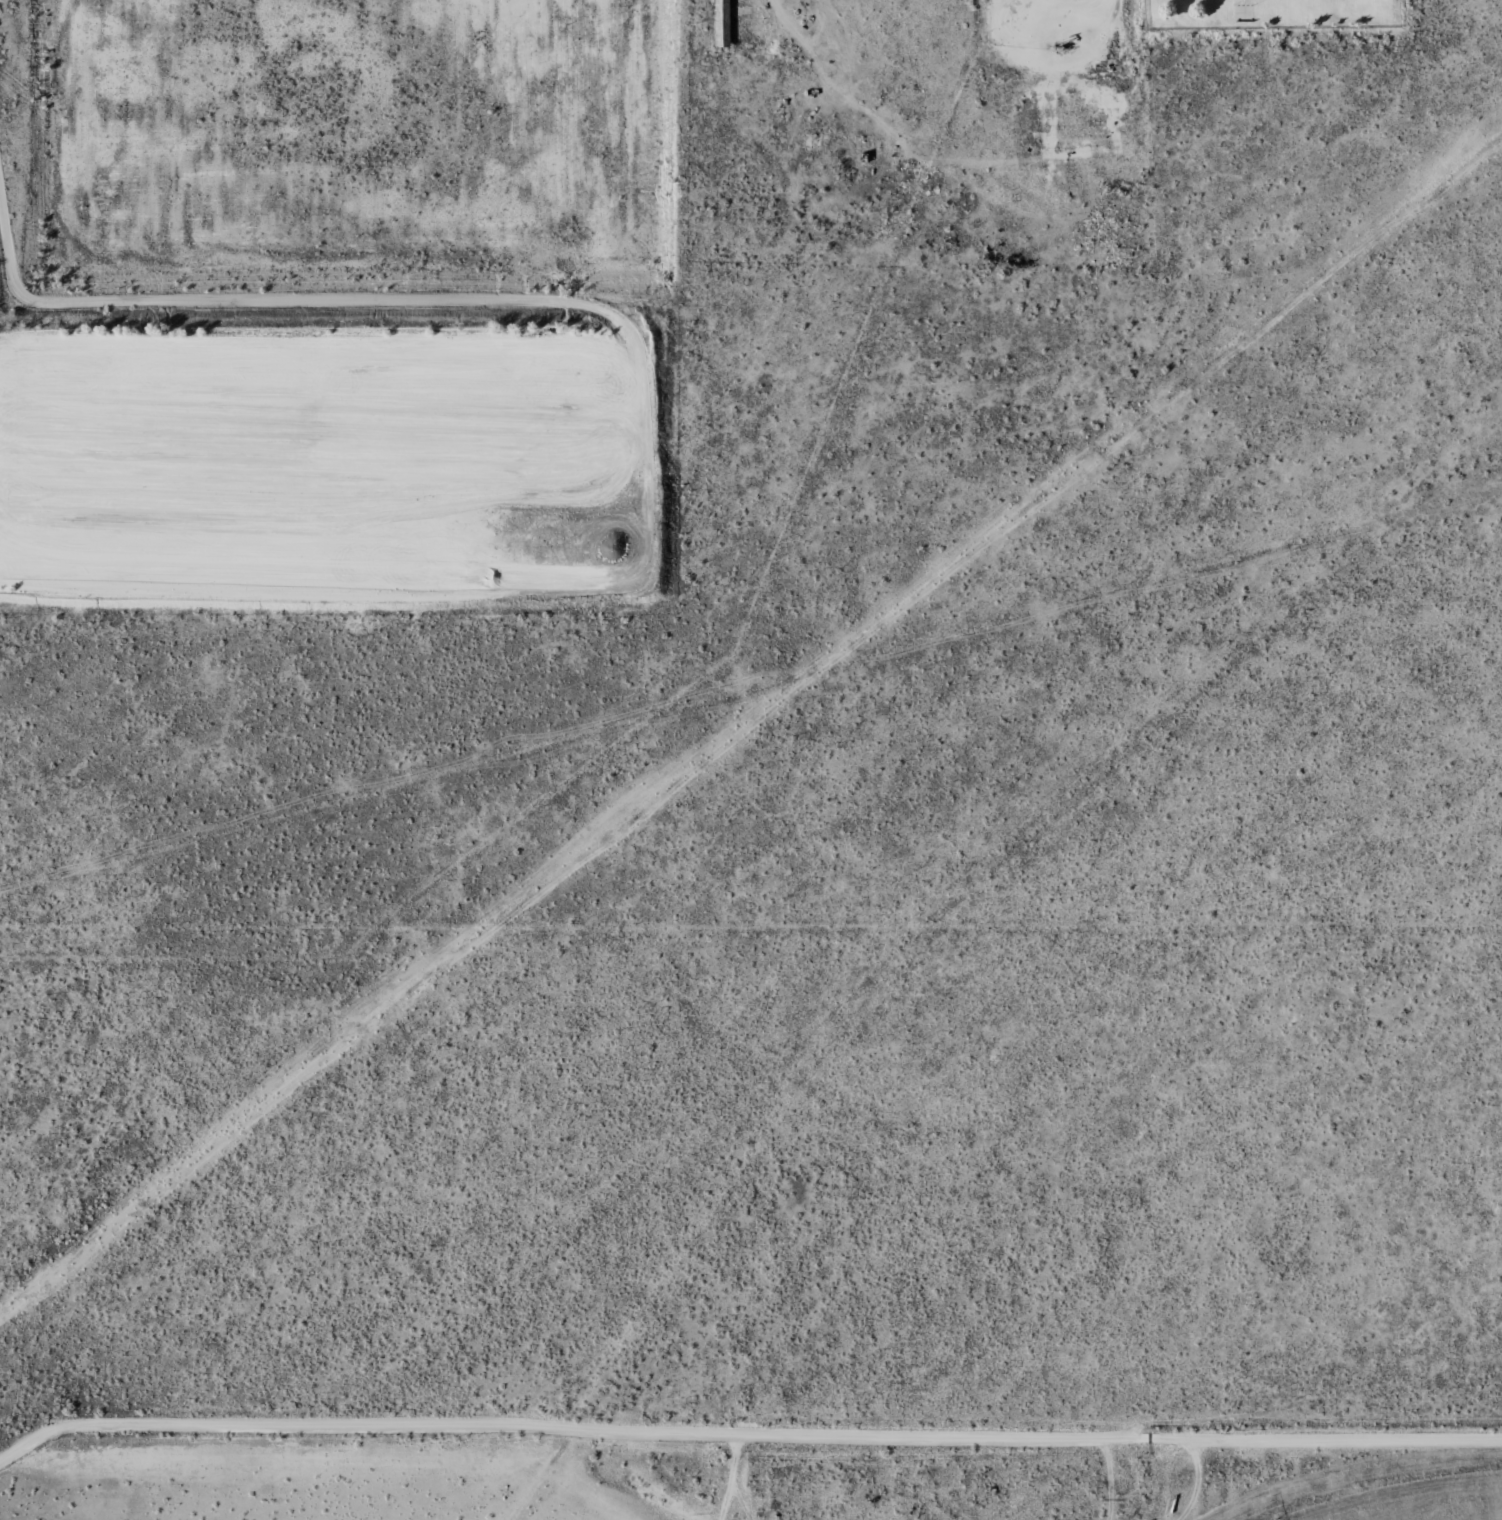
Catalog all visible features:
park: (1270, 14)
road: (1332, 1442)

